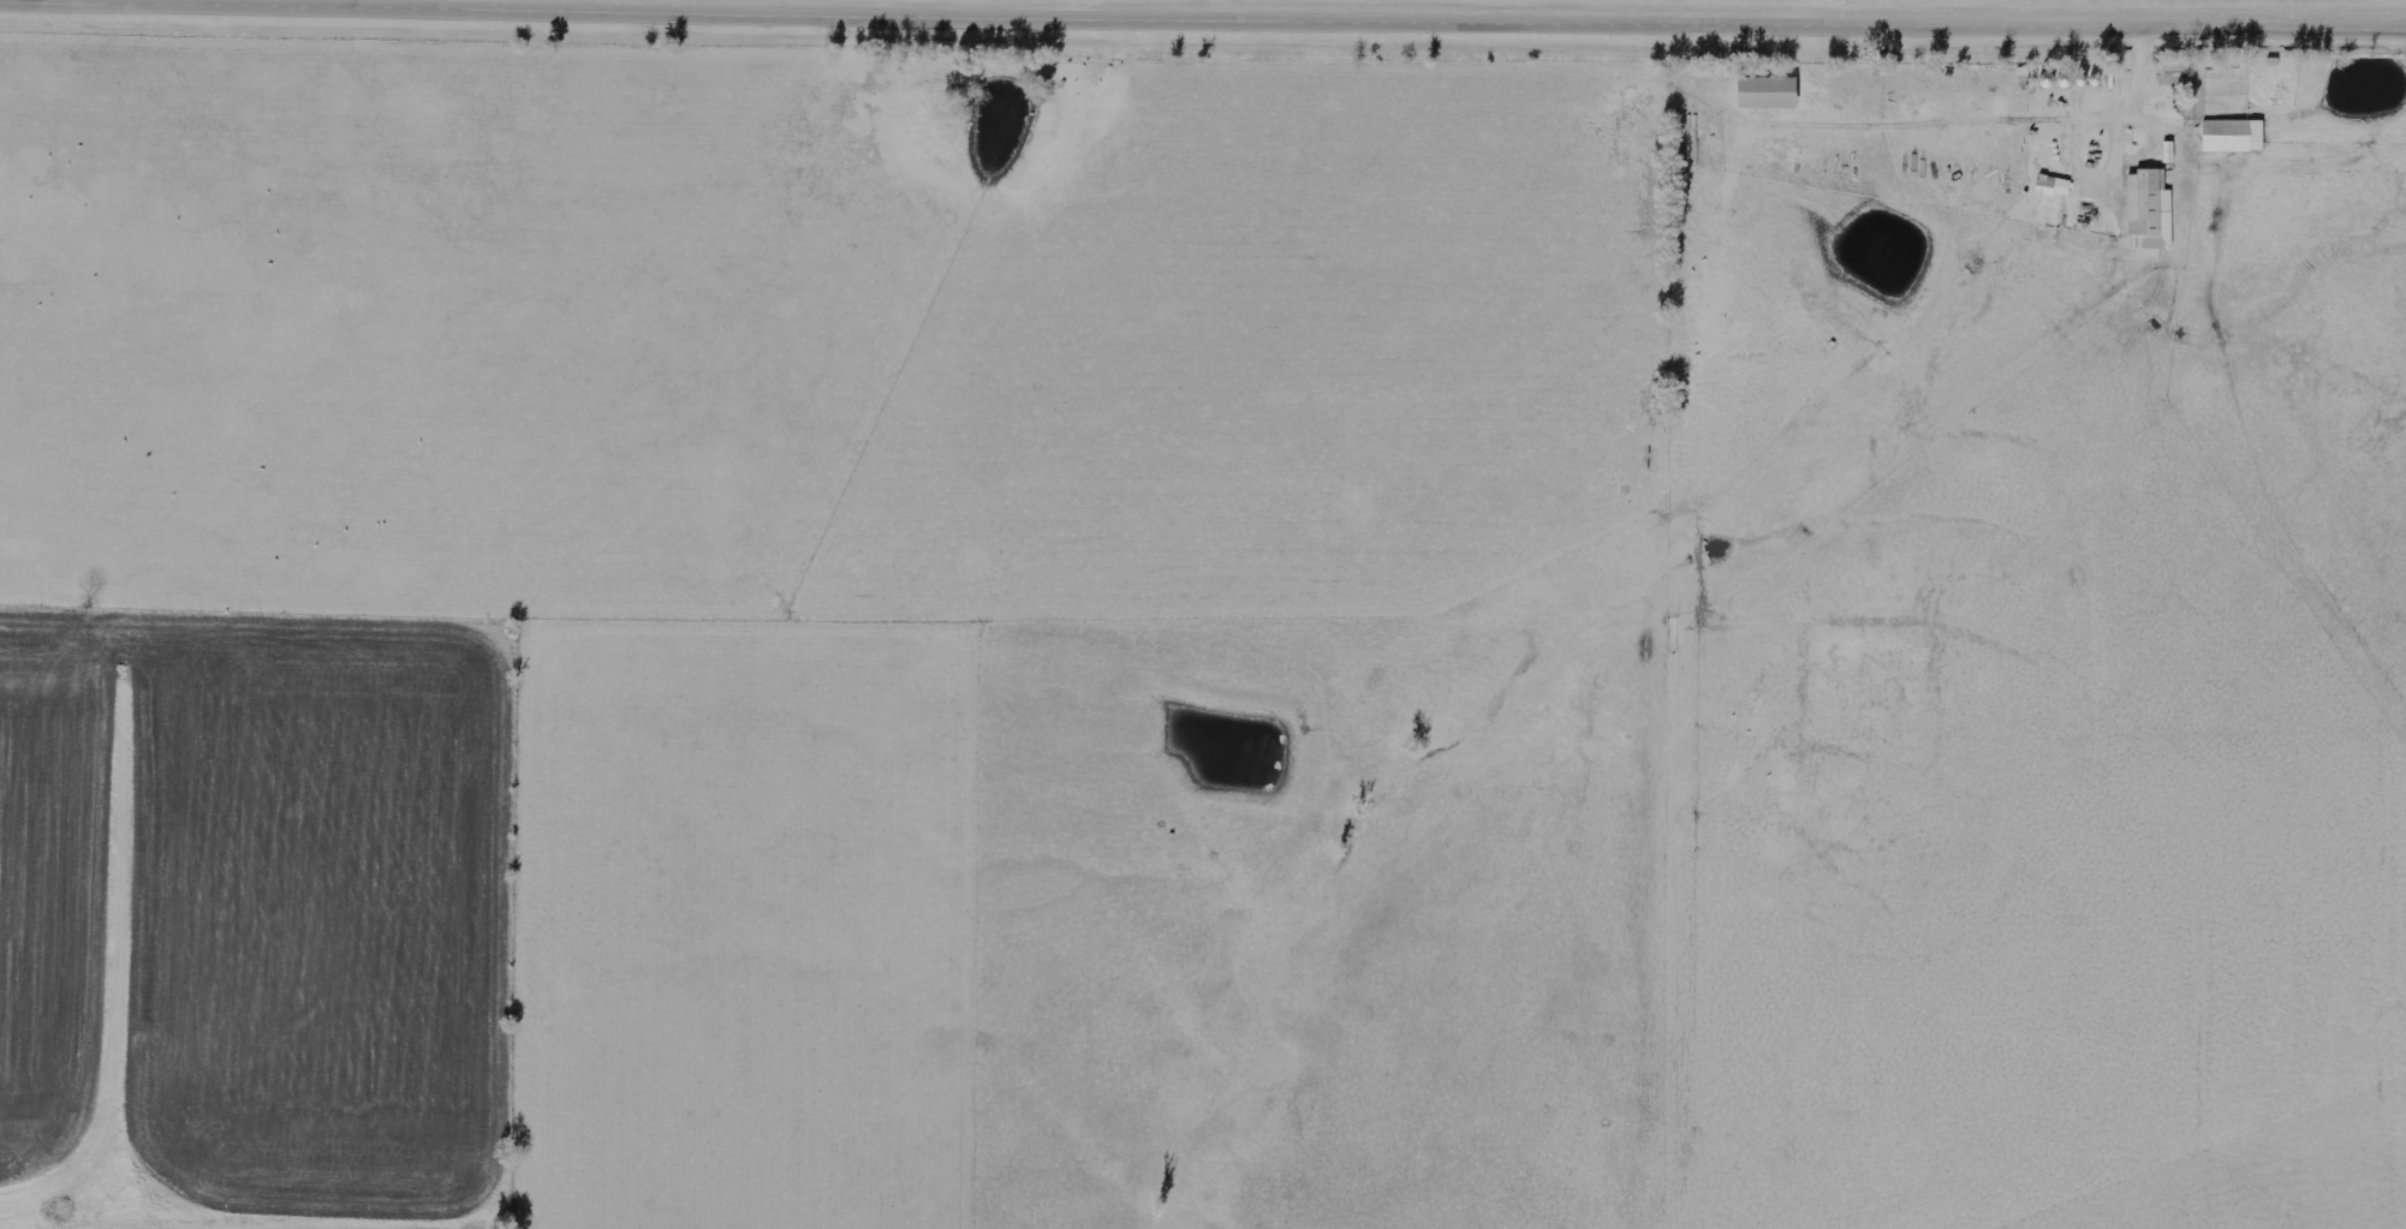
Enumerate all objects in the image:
road: (1422, 12)
building: (1767, 95)
building: (2233, 137)
building: (2054, 186)
building: (2149, 211)

